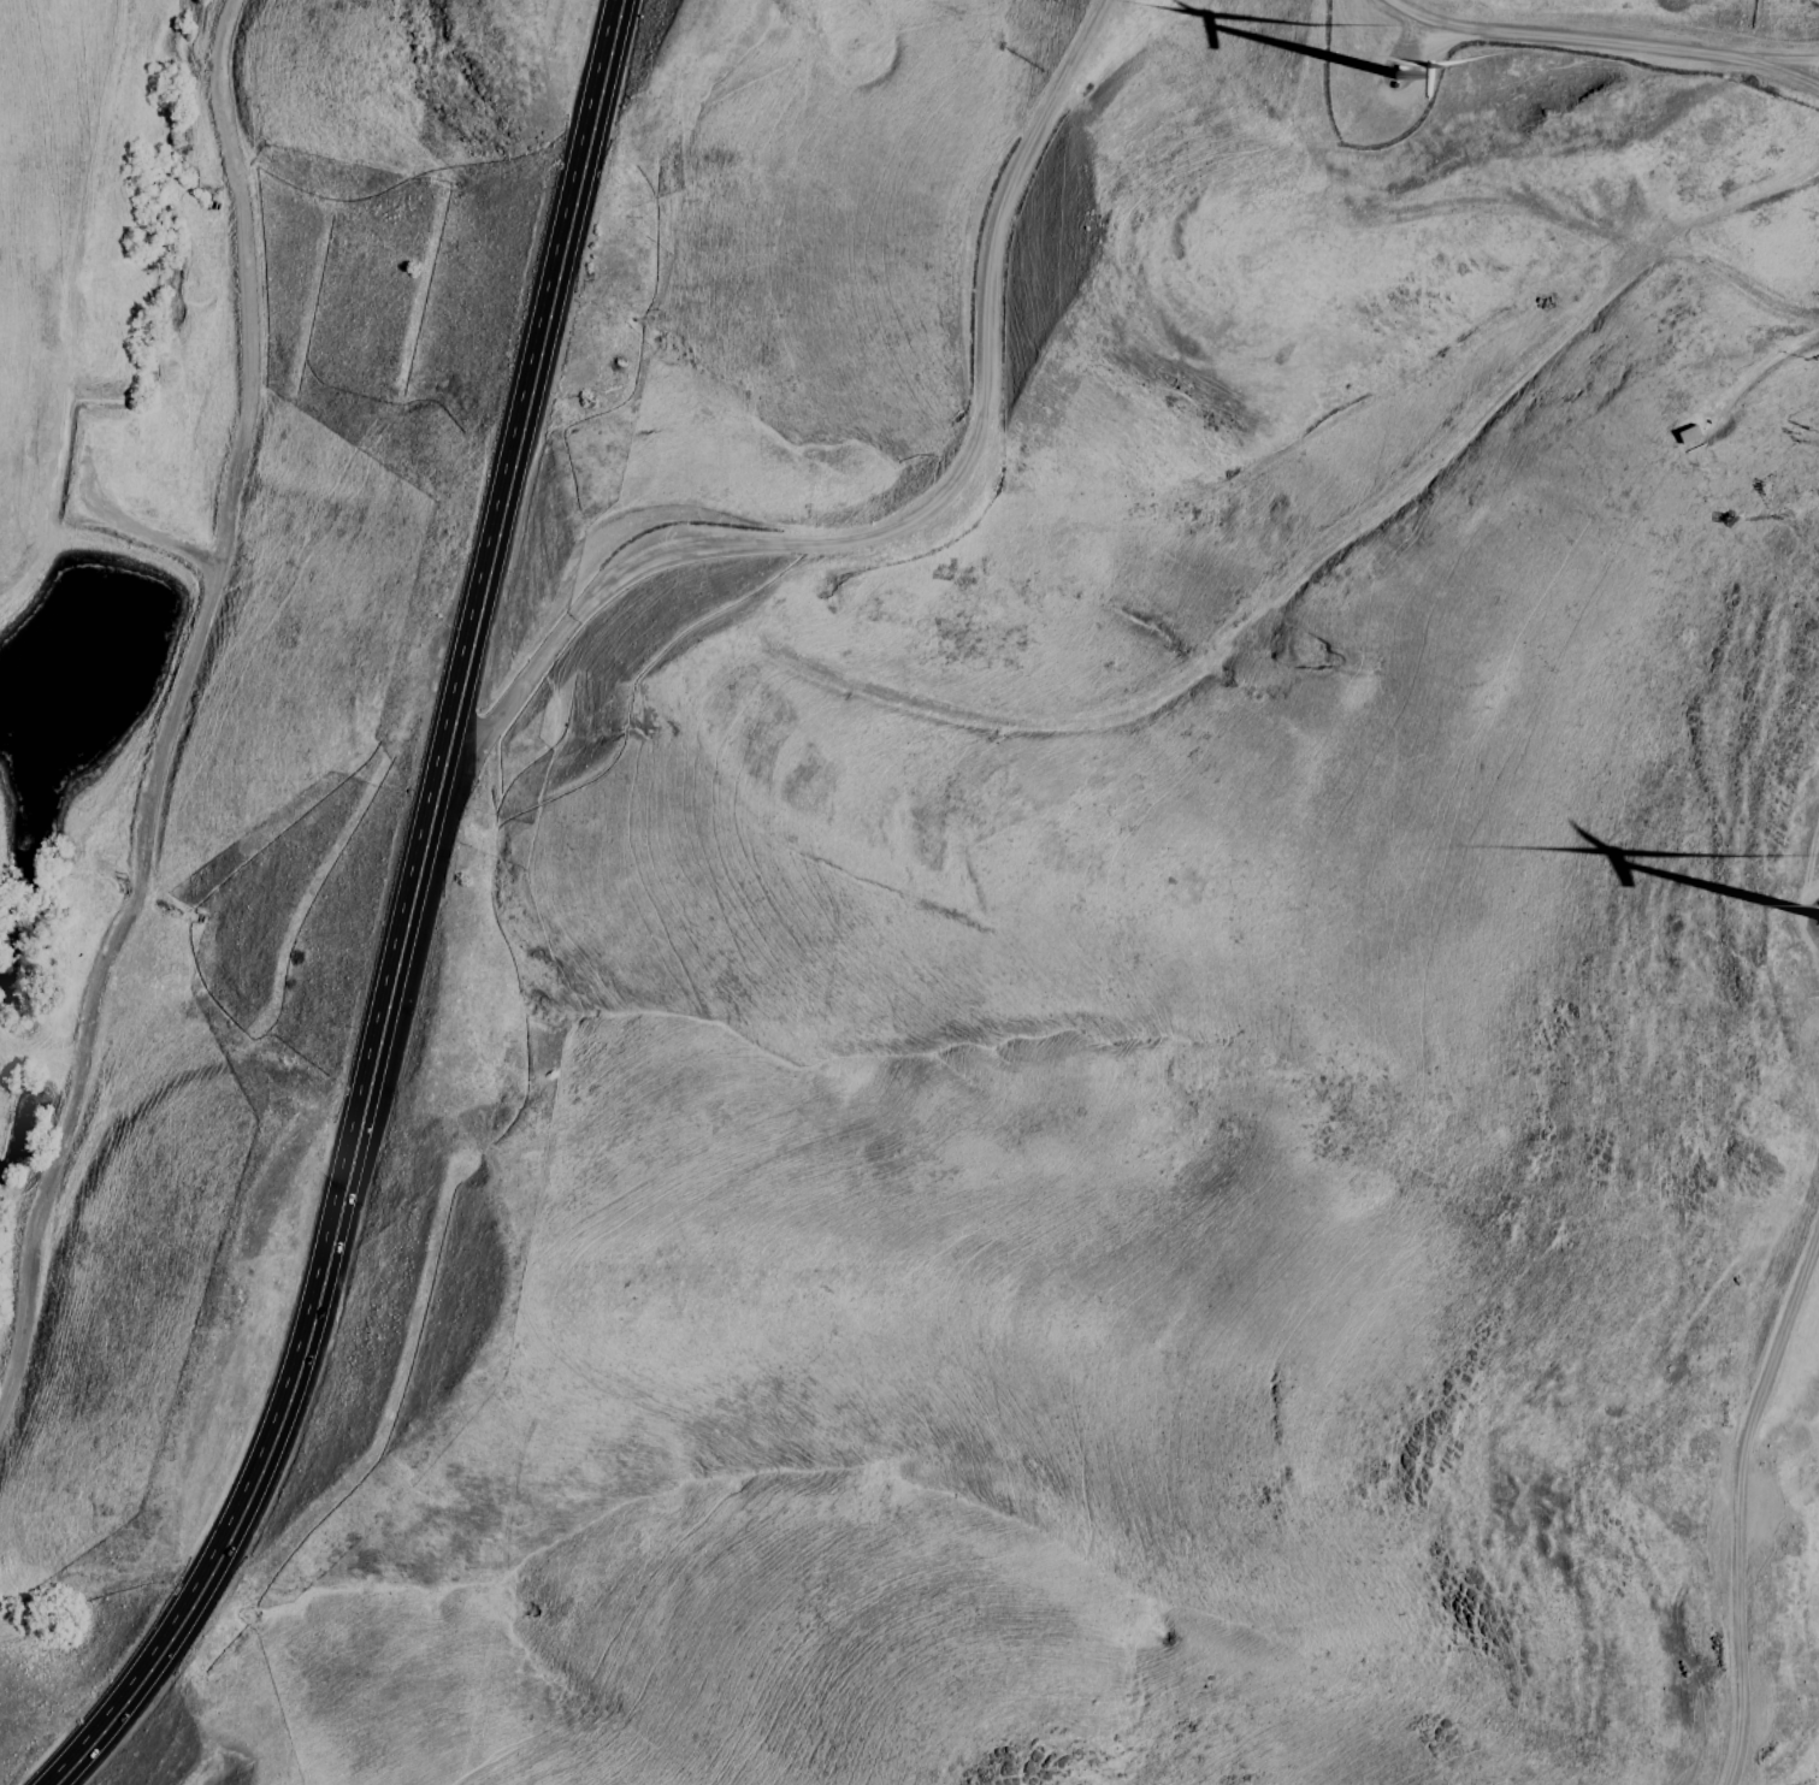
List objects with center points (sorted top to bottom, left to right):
crop: (1766, 52)
wind turbine: (1406, 76)
road: (98, 190)
road: (1484, 208)
road: (649, 305)
road: (979, 378)
road: (217, 580)
road: (1146, 699)
road: (403, 922)
road: (1752, 1496)

